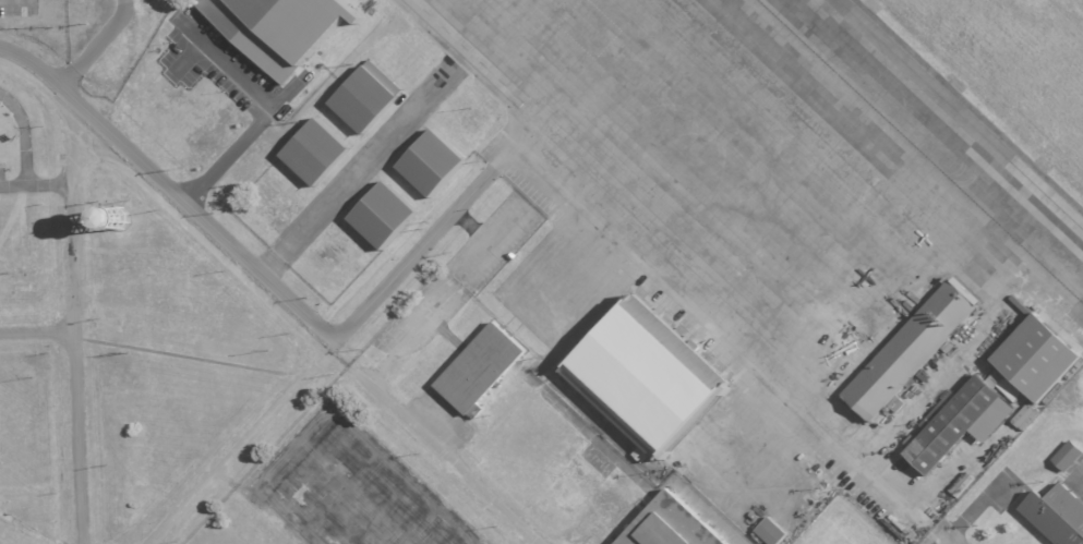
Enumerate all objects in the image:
building: (280, 27)
road: (48, 92)
airport hangar: (364, 96)
building: (364, 96)
road: (282, 99)
airport taxiway: (960, 114)
road: (22, 136)
airport hangar: (314, 152)
building: (314, 152)
airport hangar: (430, 162)
building: (430, 162)
road: (354, 177)
road: (49, 183)
road: (13, 184)
airport: (648, 206)
airport hangar: (382, 215)
building: (382, 215)
airport apron: (797, 216)
road: (208, 241)
road: (253, 265)
road: (662, 297)
road: (37, 331)
road: (74, 336)
airport hangar: (911, 349)
building: (911, 349)
airport hangar: (1036, 356)
building: (1036, 356)
airport hangar: (479, 370)
building: (479, 370)
airport hangar: (643, 378)
building: (643, 378)
airport hangar: (952, 424)
building: (952, 424)
road: (435, 446)
road: (234, 447)
building: (1064, 456)
building: (1056, 516)
airport hangar: (670, 525)
building: (670, 525)
building: (773, 530)

